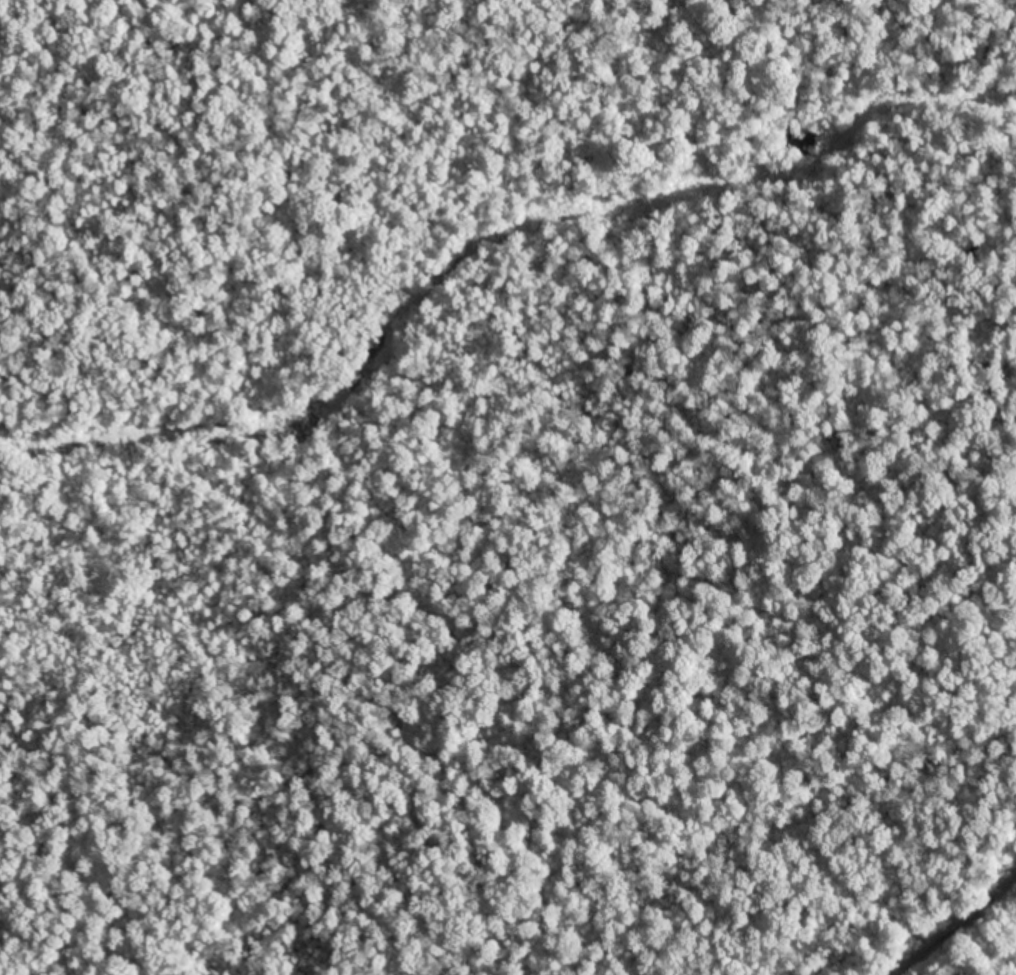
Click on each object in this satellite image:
road: (942, 875)

